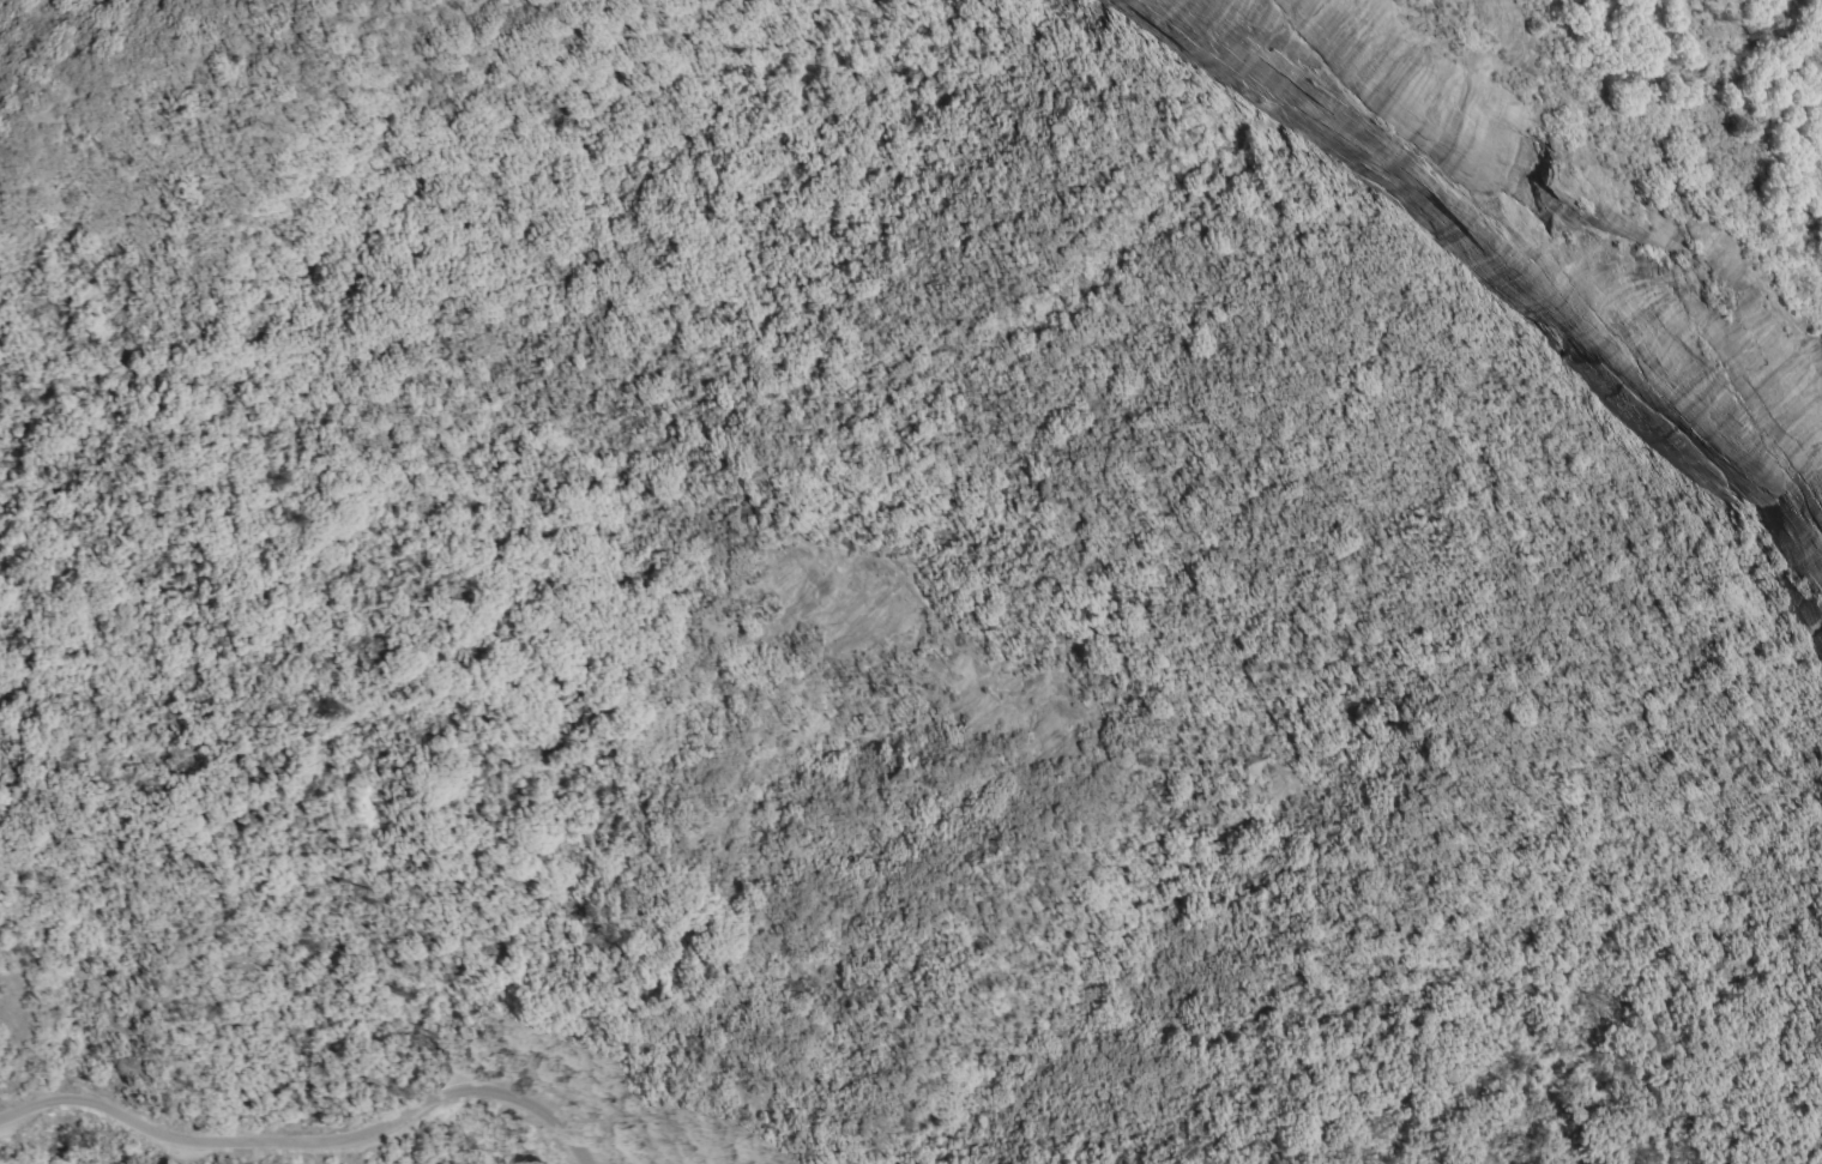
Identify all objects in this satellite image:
road: (1708, 117)
road: (312, 1139)

